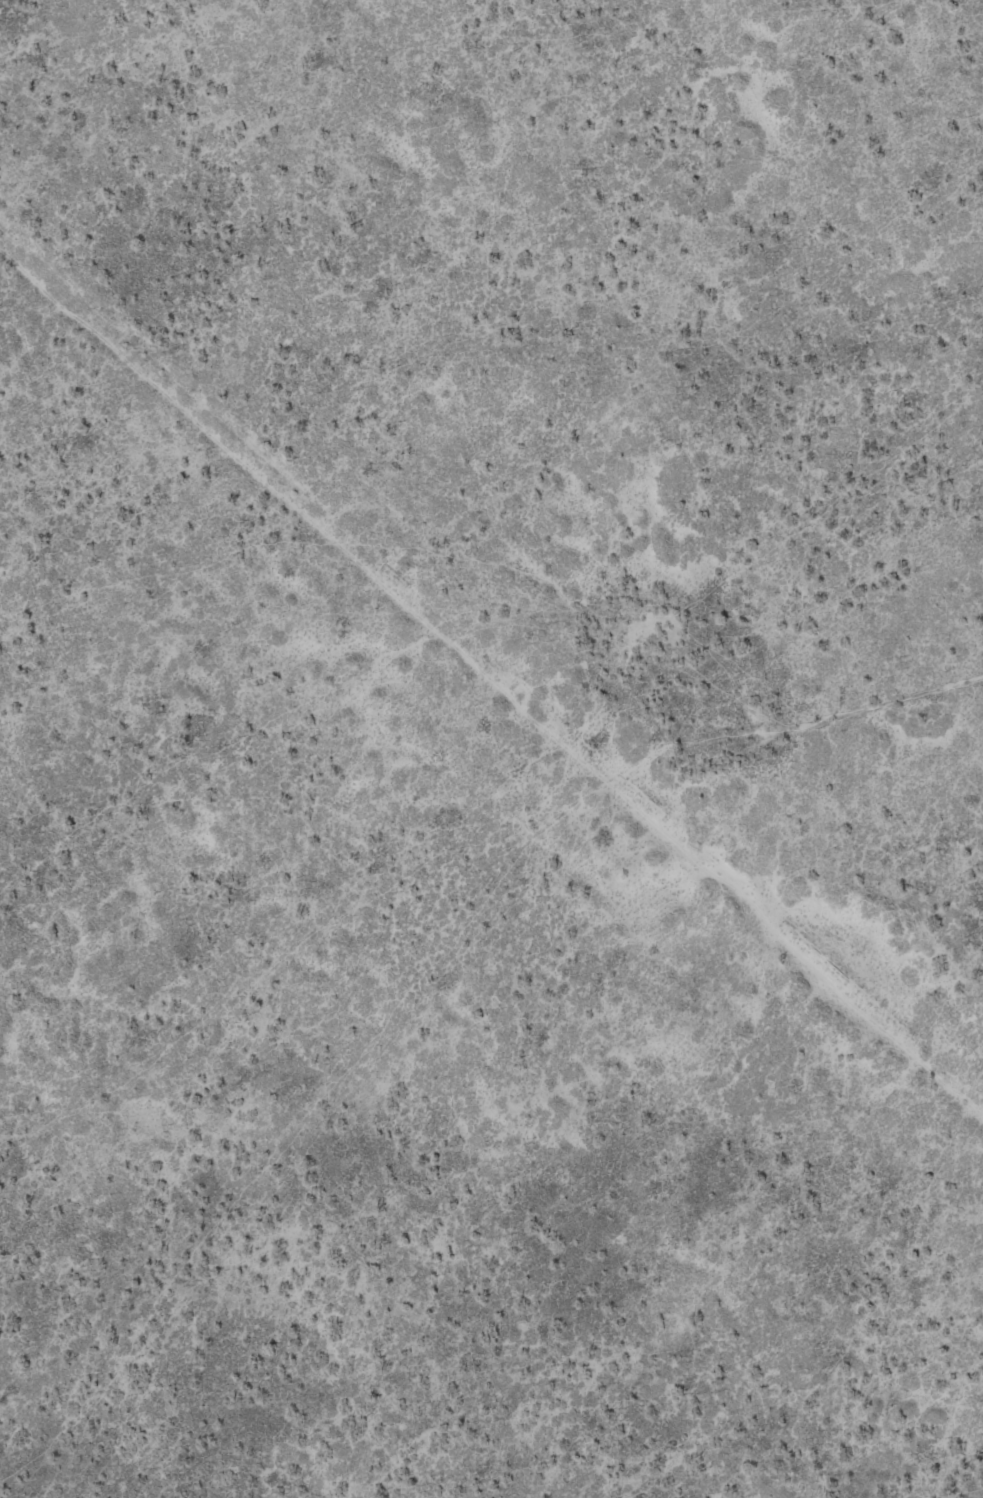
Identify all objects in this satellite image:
road: (890, 702)

